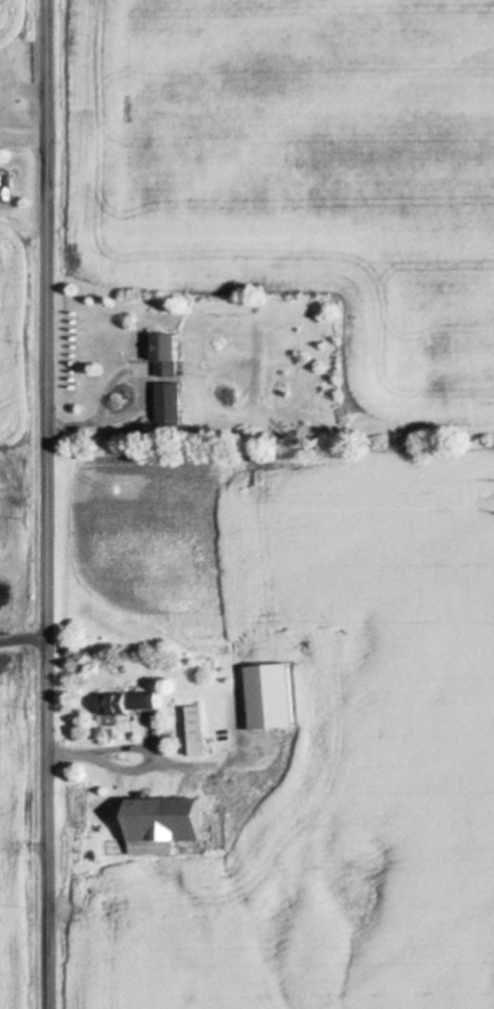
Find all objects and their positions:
building: (4, 188)
building: (168, 352)
building: (172, 403)
road: (147, 408)
building: (242, 433)
road: (47, 504)
road: (23, 638)
building: (274, 696)
building: (129, 701)
building: (199, 730)
building: (79, 807)
building: (167, 823)

